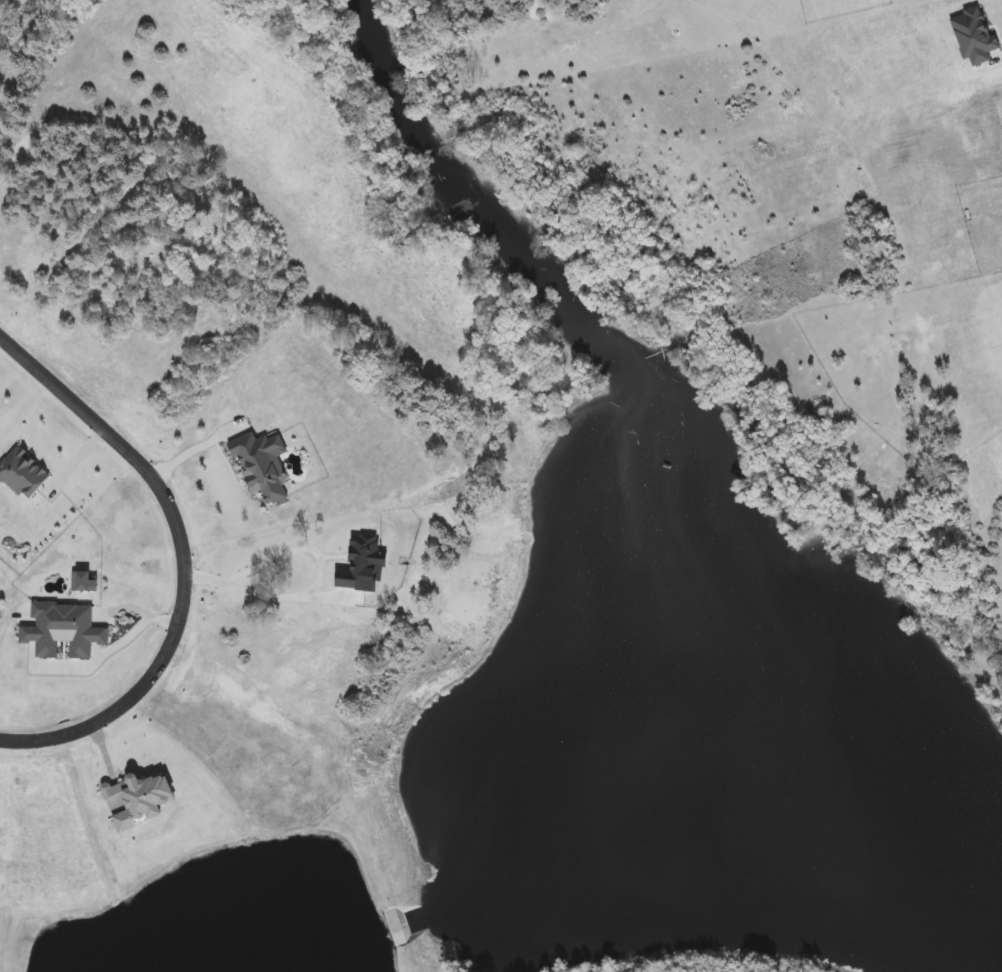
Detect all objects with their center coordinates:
road: (183, 557)
building: (81, 582)
road: (253, 595)
building: (59, 630)
road: (110, 647)

